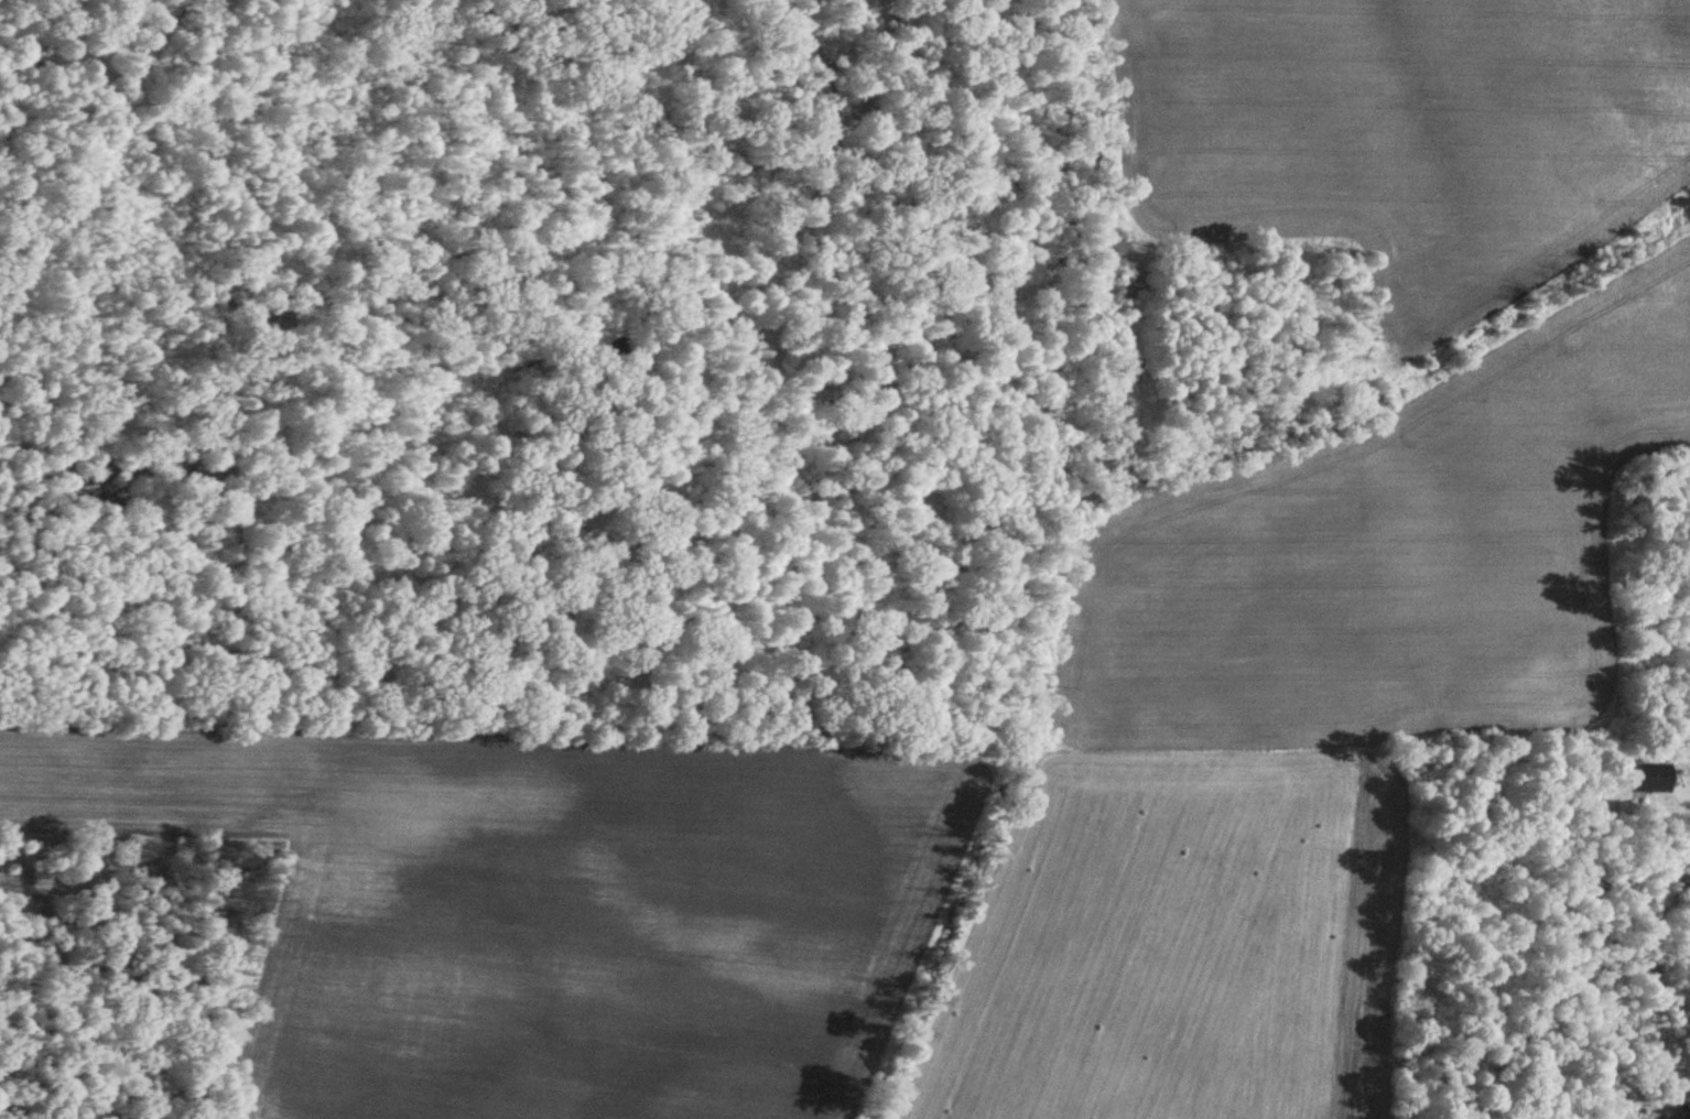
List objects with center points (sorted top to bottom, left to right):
building: (1655, 782)

